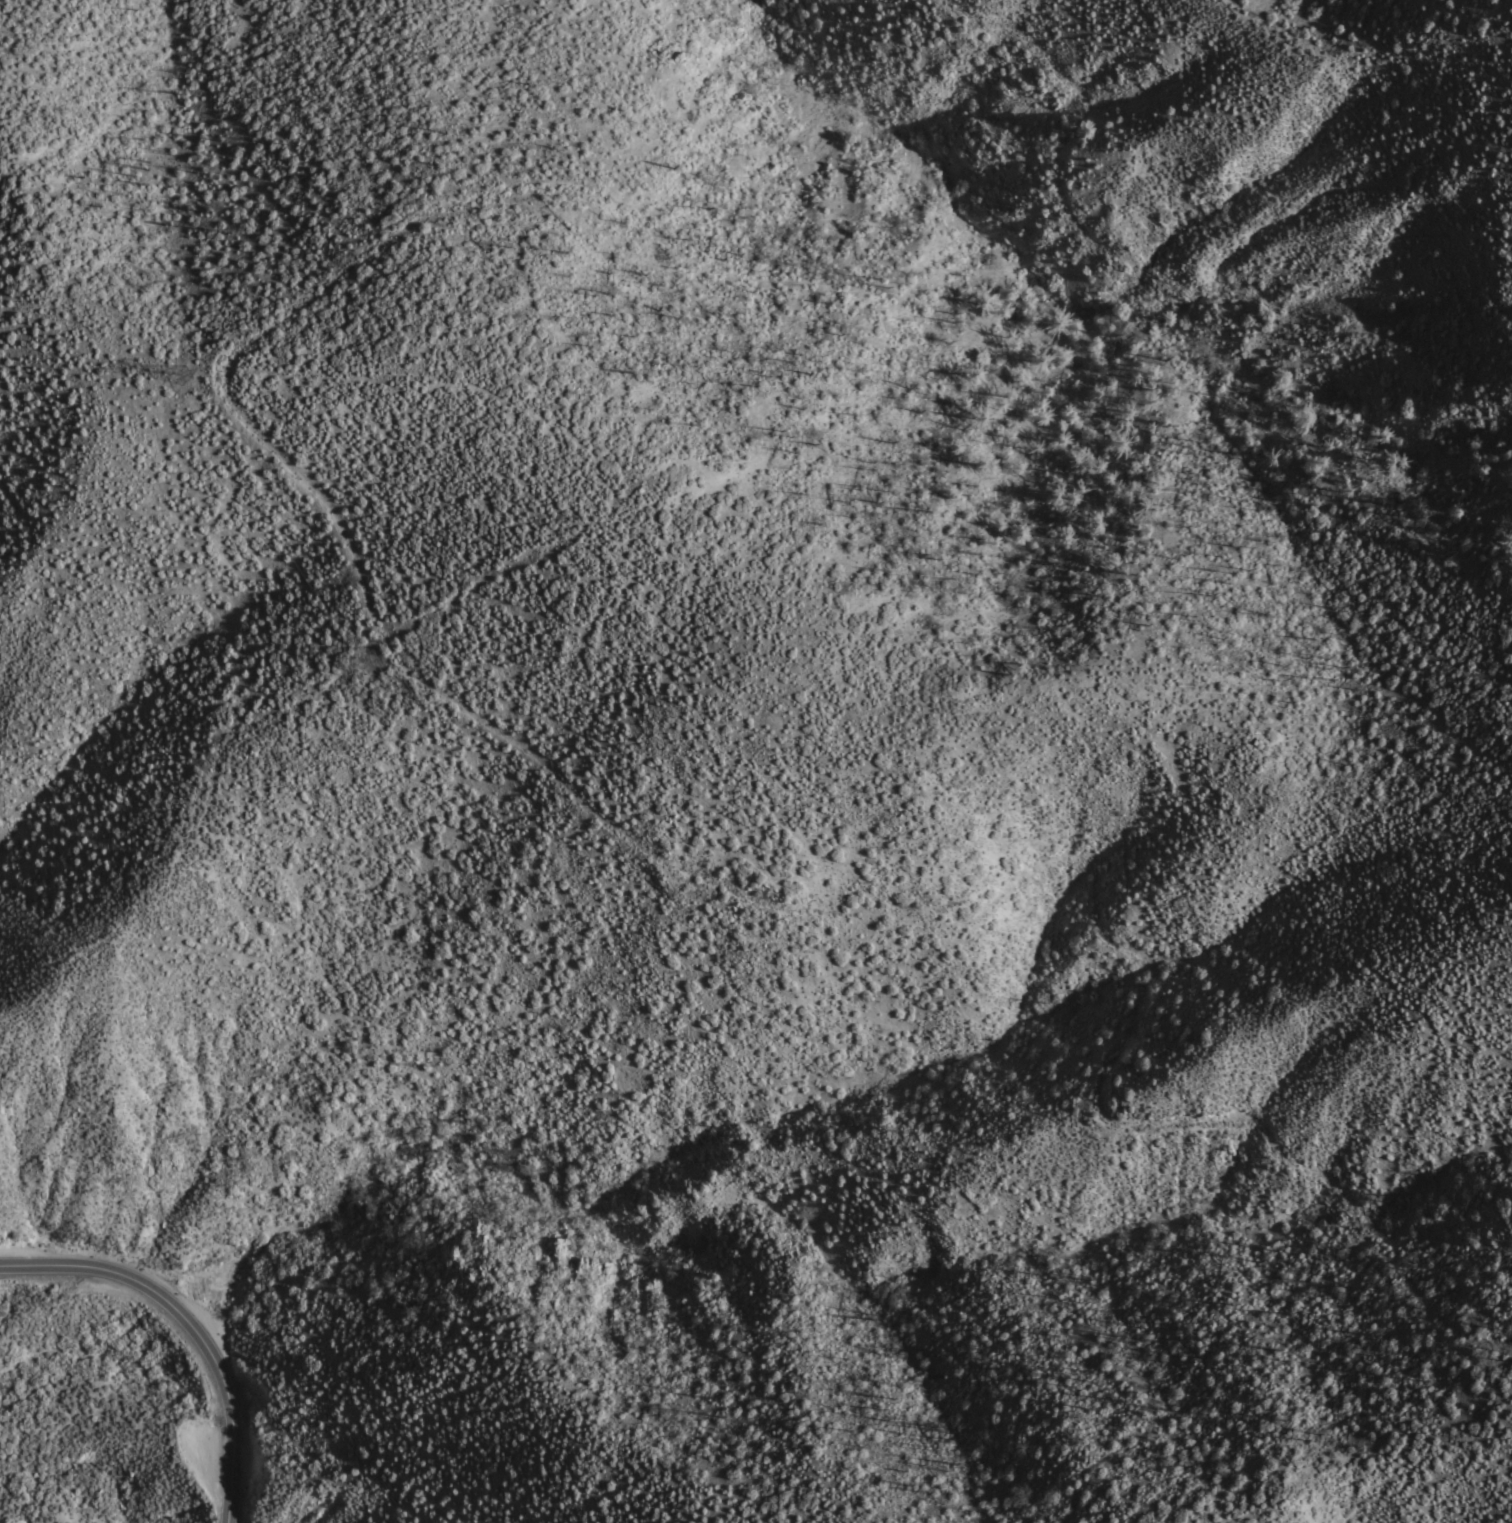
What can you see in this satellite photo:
power tower: (384, 656)
road: (191, 1323)

